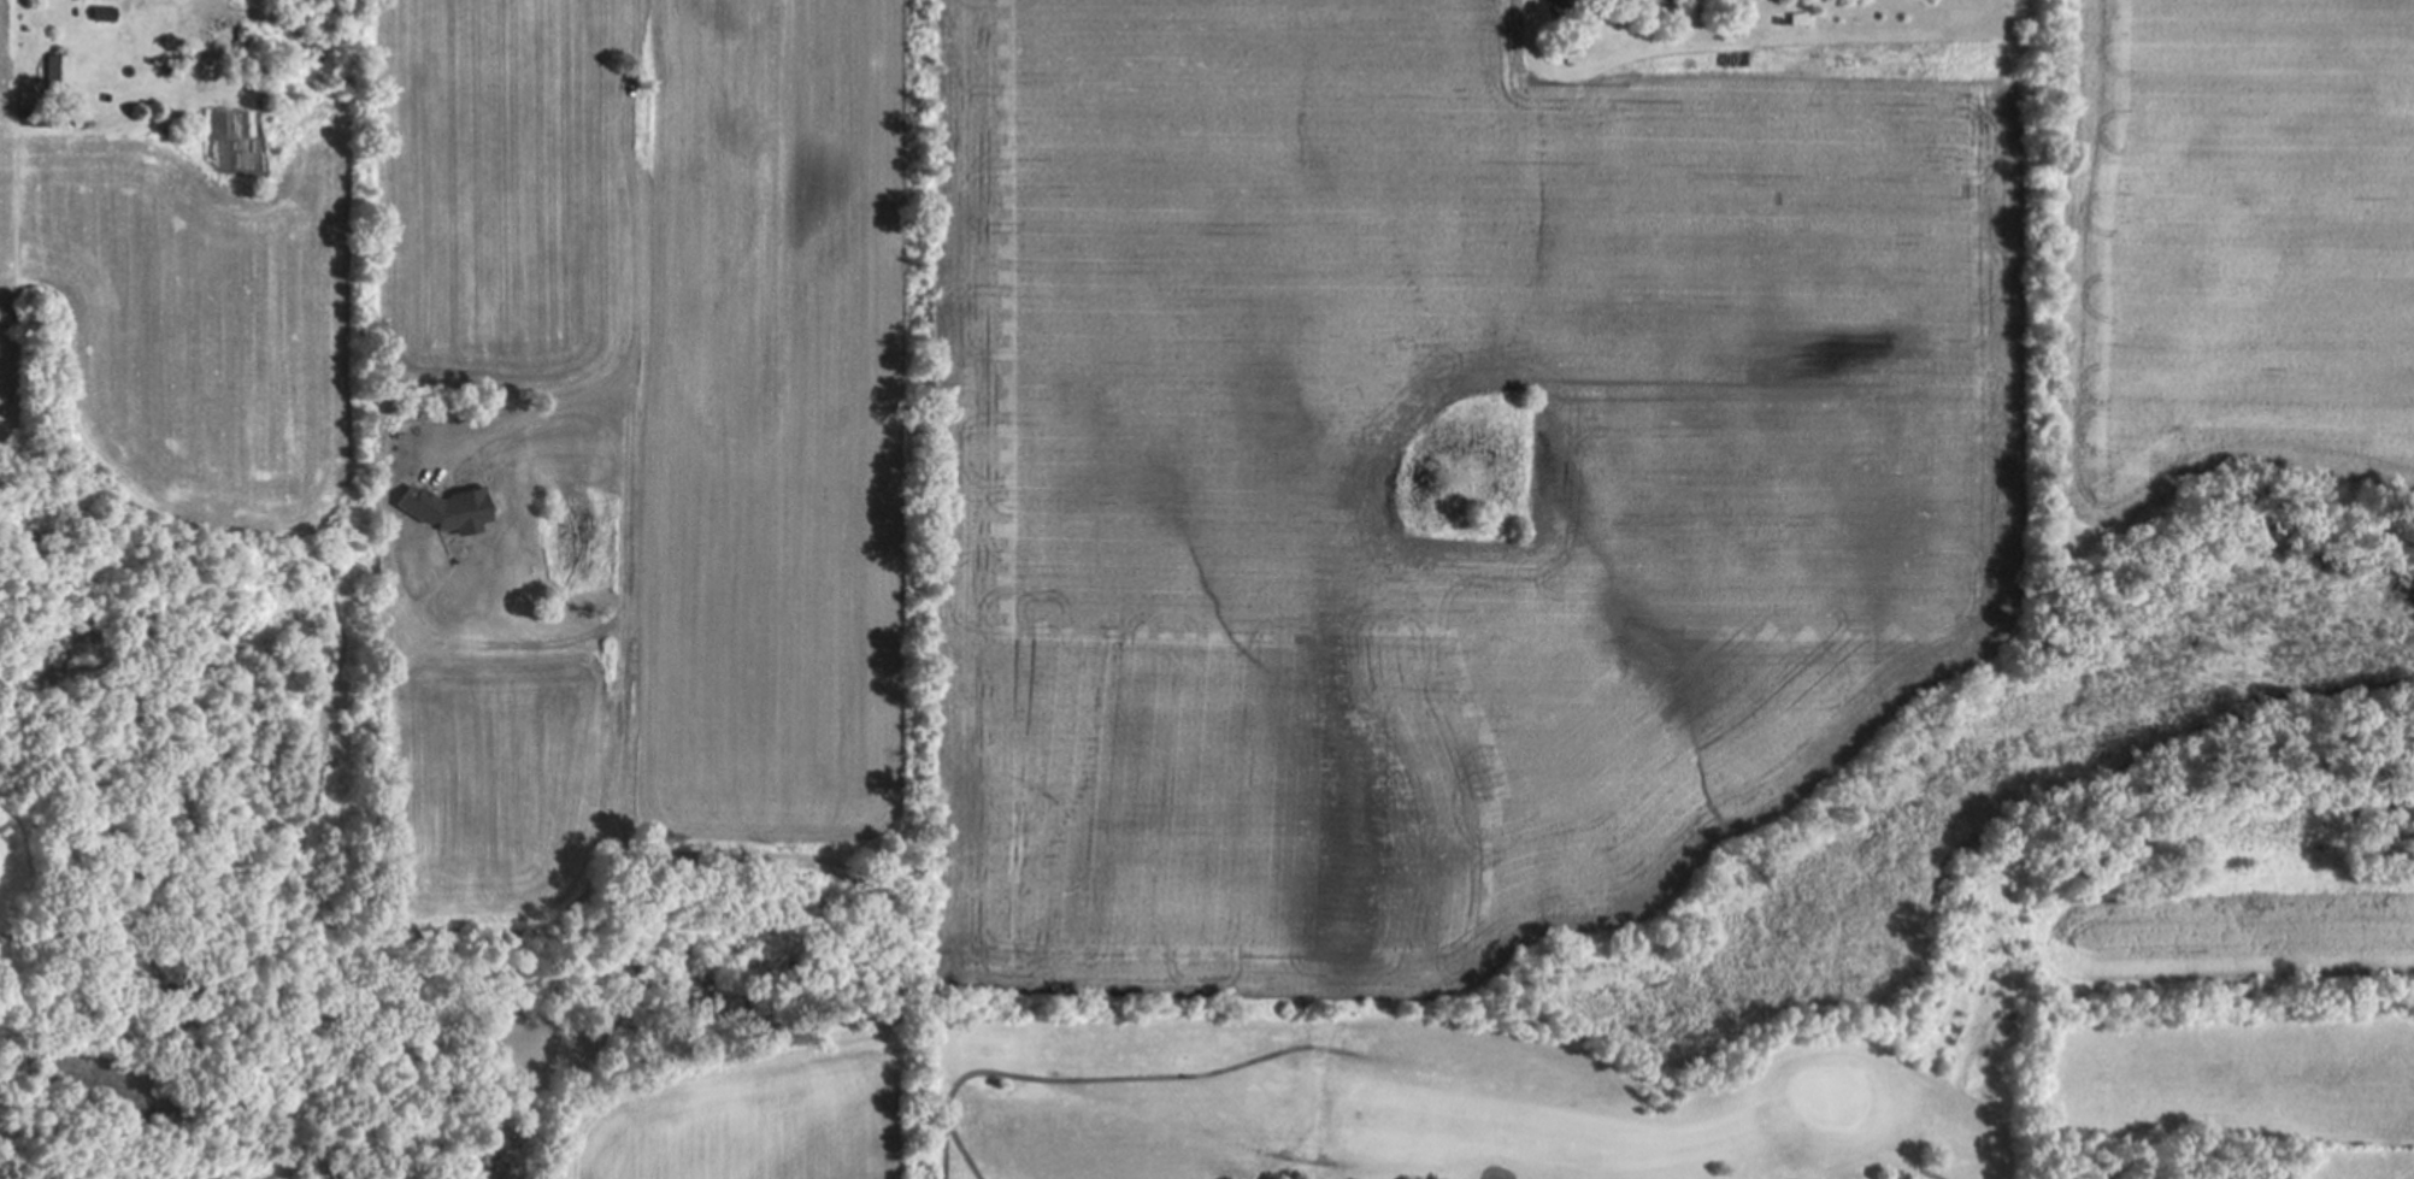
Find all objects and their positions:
building: (104, 16)
building: (57, 73)
road: (1123, 1075)
park: (1491, 1091)
park: (1832, 1092)
road: (1939, 1174)

